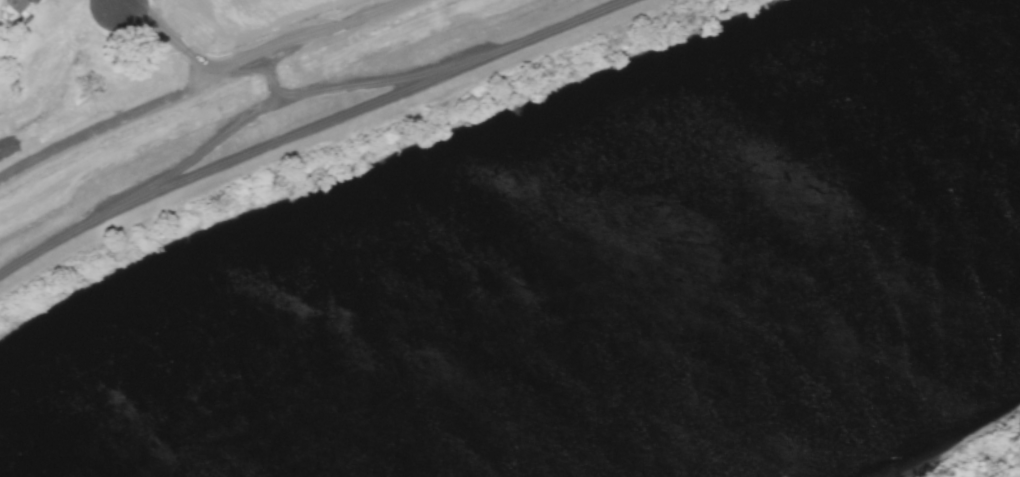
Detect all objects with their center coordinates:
road: (610, 2)
building: (16, 5)
crop: (313, 36)
road: (357, 106)
road: (135, 202)
river: (615, 301)

